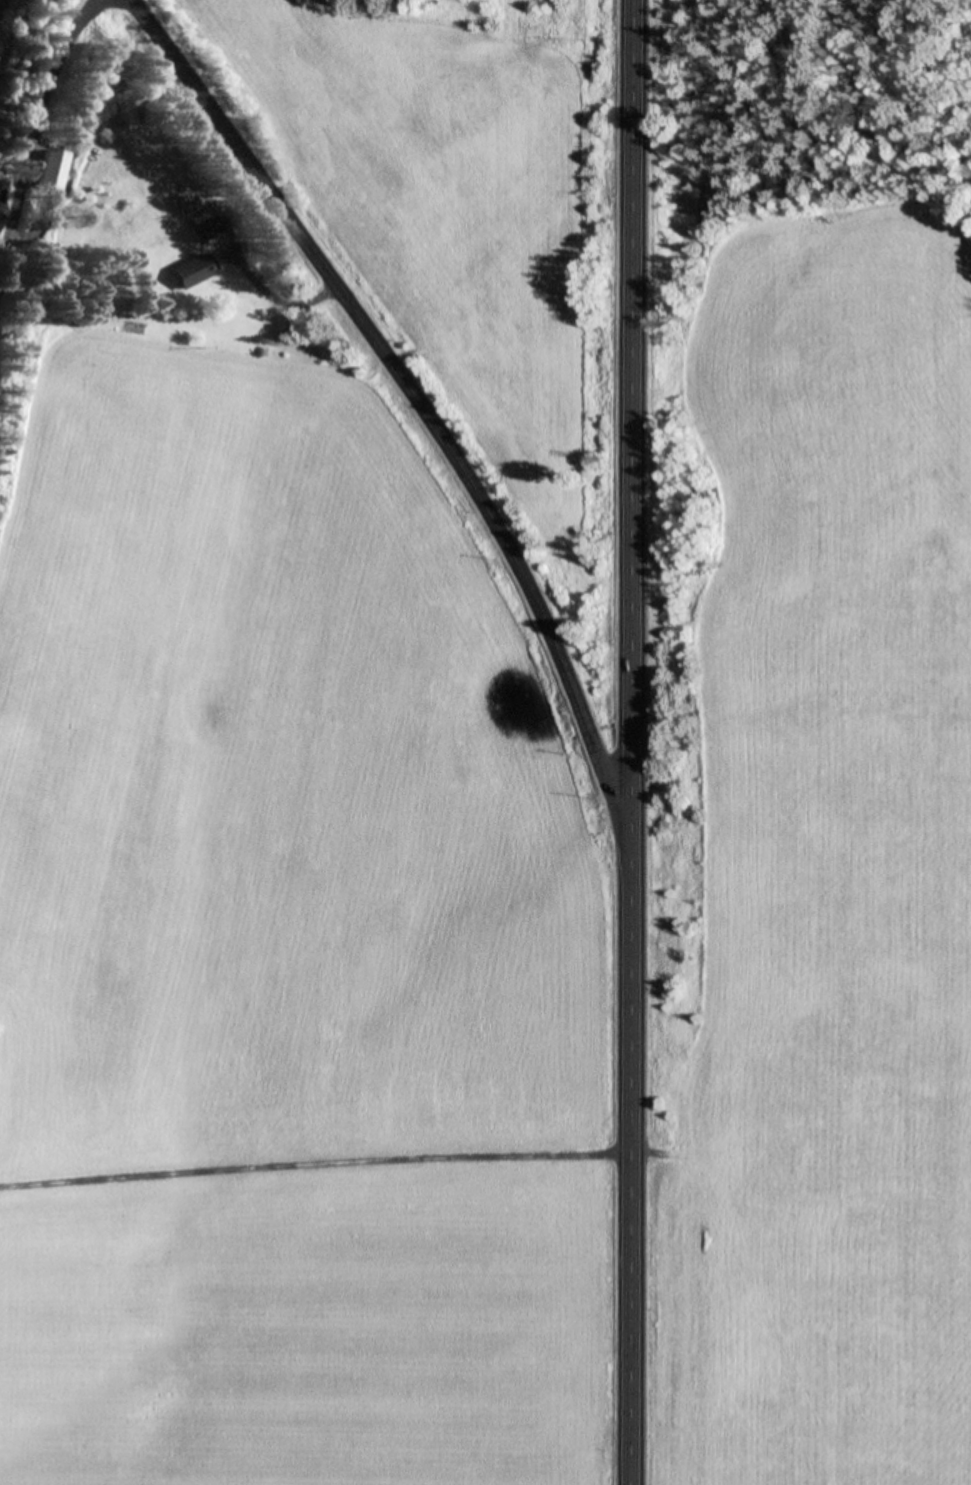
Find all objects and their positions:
building: (106, 132)
road: (51, 184)
building: (4, 204)
building: (184, 205)
building: (205, 228)
building: (196, 269)
road: (421, 423)
road: (651, 742)
road: (326, 1162)

